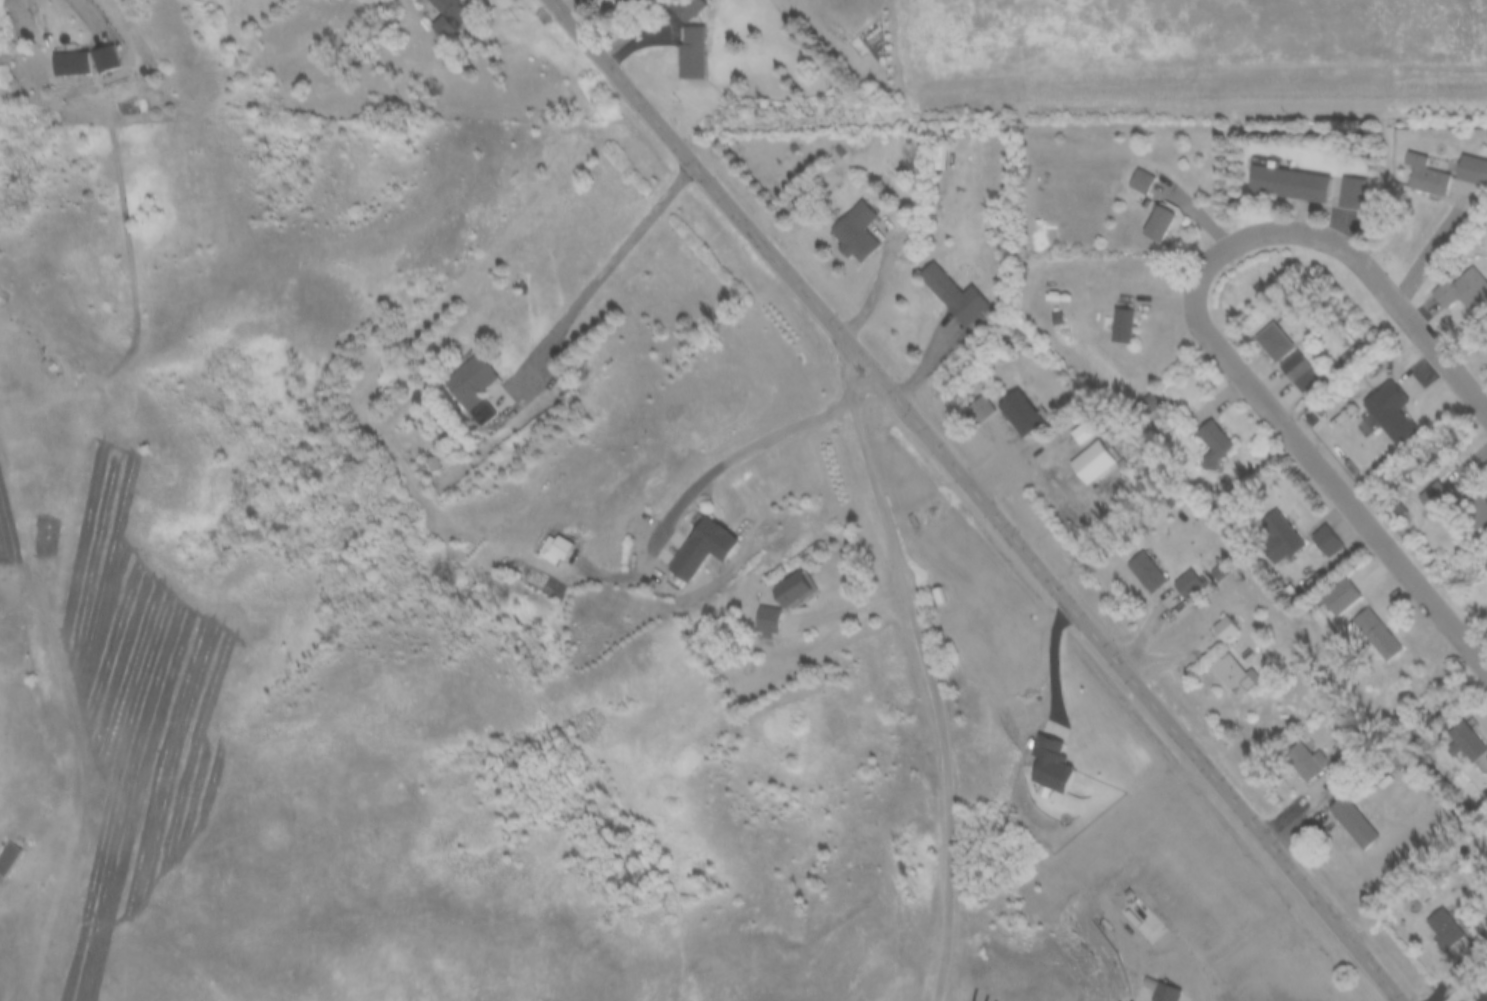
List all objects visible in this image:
building: (632, 4)
building: (687, 8)
building: (444, 17)
building: (691, 52)
building: (74, 63)
building: (1473, 171)
building: (1427, 177)
building: (1141, 183)
building: (1290, 184)
building: (1353, 194)
building: (1158, 224)
building: (853, 233)
road: (605, 267)
building: (1464, 292)
building: (951, 295)
building: (1122, 326)
road: (1203, 334)
building: (1275, 342)
building: (1301, 372)
building: (472, 389)
building: (982, 406)
building: (1149, 407)
building: (1018, 412)
building: (1392, 413)
road: (734, 443)
building: (1215, 445)
building: (1092, 463)
road: (980, 495)
building: (1280, 538)
building: (1328, 539)
building: (702, 549)
building: (556, 551)
building: (1149, 573)
building: (1191, 586)
building: (789, 589)
building: (1344, 598)
road: (844, 607)
building: (765, 623)
building: (1229, 629)
building: (1382, 635)
road: (927, 665)
building: (1241, 676)
building: (1467, 743)
building: (1319, 762)
building: (1358, 822)
building: (12, 859)
building: (1447, 927)
road: (29, 947)
building: (1485, 986)

